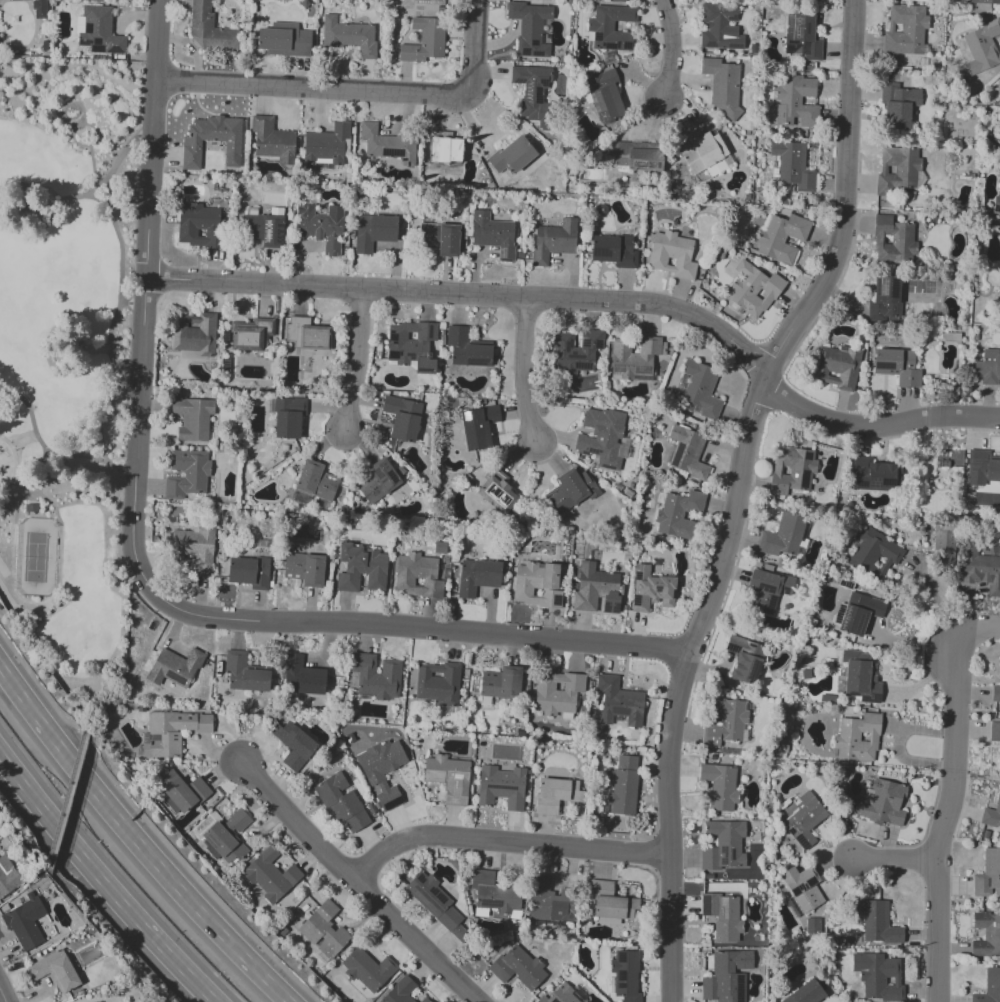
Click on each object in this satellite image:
building: (989, 1)
building: (39, 8)
rooftop solar panel: (732, 18)
building: (718, 26)
building: (209, 28)
building: (612, 28)
building: (530, 30)
building: (100, 31)
building: (907, 32)
road: (474, 33)
rooftop solar panel: (525, 33)
building: (350, 36)
rooftop solar panel: (597, 37)
building: (803, 38)
building: (284, 39)
rooftop solar panel: (84, 41)
building: (425, 41)
rooftop solar panel: (708, 43)
rooftop solar panel: (602, 44)
rooftop solar panel: (617, 45)
rooftop solar panel: (626, 45)
rooftop solar panel: (608, 46)
rooftop solar panel: (731, 46)
road: (670, 49)
building: (983, 49)
rooftop solar panel: (113, 50)
rooftop solar panel: (525, 54)
rooftop solar panel: (536, 54)
rooftop solar panel: (518, 81)
rooftop solar panel: (542, 82)
building: (723, 82)
road: (324, 88)
rooftop solar panel: (529, 90)
building: (534, 94)
building: (604, 95)
rooftop solar panel: (586, 97)
rooftop solar panel: (596, 100)
road: (69, 102)
building: (796, 103)
building: (897, 106)
road: (91, 108)
building: (957, 122)
road: (81, 131)
road: (73, 134)
building: (210, 140)
building: (270, 141)
building: (328, 144)
building: (388, 145)
building: (445, 150)
rooftop solar panel: (390, 151)
building: (701, 154)
building: (512, 156)
building: (967, 158)
building: (634, 159)
road: (93, 167)
building: (788, 168)
building: (898, 173)
road: (89, 193)
road: (97, 199)
road: (845, 199)
building: (997, 204)
building: (199, 226)
building: (323, 229)
rooftop solar panel: (264, 230)
building: (264, 231)
rooftop solar panel: (280, 232)
building: (372, 233)
building: (494, 235)
building: (782, 239)
building: (893, 240)
building: (440, 241)
building: (554, 241)
building: (615, 251)
building: (671, 255)
rooftop solar panel: (877, 285)
rooftop solar panel: (883, 288)
rooftop solar panel: (894, 289)
building: (751, 291)
building: (885, 295)
road: (124, 303)
road: (136, 303)
road: (592, 305)
road: (114, 322)
building: (307, 333)
building: (192, 334)
rooftop solar panel: (225, 337)
building: (247, 339)
rooftop solar panel: (585, 342)
rooftop solar panel: (597, 344)
building: (412, 345)
building: (467, 349)
building: (578, 352)
building: (637, 359)
park: (69, 362)
road: (356, 363)
rooftop solar panel: (583, 365)
rooftop solar panel: (882, 365)
rooftop solar panel: (225, 366)
building: (896, 366)
building: (838, 367)
building: (988, 369)
road: (531, 372)
building: (696, 389)
building: (192, 419)
building: (288, 419)
building: (401, 419)
building: (481, 427)
building: (606, 438)
road: (24, 440)
road: (90, 448)
road: (50, 454)
building: (690, 454)
road: (15, 462)
building: (982, 472)
road: (42, 473)
building: (792, 473)
building: (190, 475)
building: (874, 475)
building: (379, 479)
building: (315, 482)
rooftop solar panel: (868, 483)
road: (21, 488)
building: (571, 491)
building: (501, 492)
building: (32, 508)
building: (685, 516)
building: (783, 536)
building: (945, 546)
building: (198, 547)
building: (873, 554)
park: (36, 557)
building: (293, 566)
road: (138, 567)
building: (361, 567)
rooftop solar panel: (637, 567)
building: (981, 568)
building: (313, 571)
building: (249, 572)
building: (421, 574)
building: (478, 577)
rooftop solar panel: (637, 577)
building: (770, 583)
building: (537, 585)
building: (653, 587)
rooftop solar panel: (765, 587)
rooftop solar panel: (656, 588)
building: (597, 589)
road: (932, 593)
rooftop solar panel: (557, 599)
rooftop solar panel: (637, 599)
building: (762, 603)
rooftop solar panel: (769, 605)
road: (37, 606)
building: (860, 613)
rooftop solar panel: (844, 616)
rooftop solar panel: (861, 623)
road: (981, 631)
building: (745, 658)
building: (176, 666)
building: (243, 672)
rooftop solar panel: (485, 674)
building: (806, 674)
building: (378, 675)
building: (303, 676)
rooftop solar panel: (493, 676)
rooftop solar panel: (174, 677)
building: (861, 682)
rooftop solar panel: (489, 683)
building: (501, 683)
road: (678, 683)
rooftop solar panel: (168, 684)
building: (439, 685)
building: (558, 694)
building: (995, 694)
rooftop solar panel: (870, 700)
building: (486, 701)
building: (620, 702)
building: (724, 723)
building: (994, 731)
building: (173, 732)
building: (857, 738)
building: (295, 745)
building: (783, 746)
building: (714, 758)
building: (382, 760)
building: (999, 760)
building: (170, 774)
building: (448, 777)
building: (867, 784)
rooftop solar panel: (491, 786)
building: (720, 786)
building: (501, 787)
building: (625, 787)
building: (200, 788)
rooftop solar panel: (504, 788)
building: (554, 795)
building: (867, 795)
building: (181, 796)
building: (389, 798)
building: (794, 799)
building: (882, 803)
building: (345, 805)
road: (944, 815)
building: (991, 815)
building: (804, 823)
rooftop solar panel: (790, 831)
building: (228, 838)
road: (136, 841)
road: (503, 841)
rooftop solar panel: (802, 841)
rooftop solar panel: (210, 842)
building: (723, 844)
rooftop solar panel: (733, 855)
rooftop solar panel: (727, 856)
road: (893, 859)
building: (271, 875)
building: (988, 875)
building: (7, 876)
rooftop solar panel: (420, 879)
road: (102, 883)
road: (356, 883)
rooftop solar panel: (810, 883)
rooftop solar panel: (806, 887)
rooftop solar panel: (799, 888)
building: (801, 890)
rooftop solar panel: (432, 891)
building: (493, 897)
rooftop solar panel: (426, 898)
rooftop solar panel: (440, 899)
rooftop solar panel: (423, 900)
building: (553, 901)
building: (436, 903)
rooftop solar panel: (488, 903)
rooftop solar panel: (500, 903)
building: (610, 903)
rooftop solar panel: (704, 906)
rooftop solar panel: (725, 906)
building: (722, 916)
building: (24, 922)
building: (877, 922)
building: (812, 925)
building: (325, 931)
building: (986, 934)
rooftop solar panel: (624, 956)
building: (518, 967)
building: (371, 969)
building: (54, 970)
rooftop solar panel: (624, 975)
building: (627, 976)
building: (728, 976)
building: (878, 976)
building: (989, 986)
rooftop solar panel: (623, 987)
building: (399, 991)
rooftop solar panel: (740, 991)
building: (806, 992)
building: (561, 995)
road: (2, 998)
building: (426, 999)

